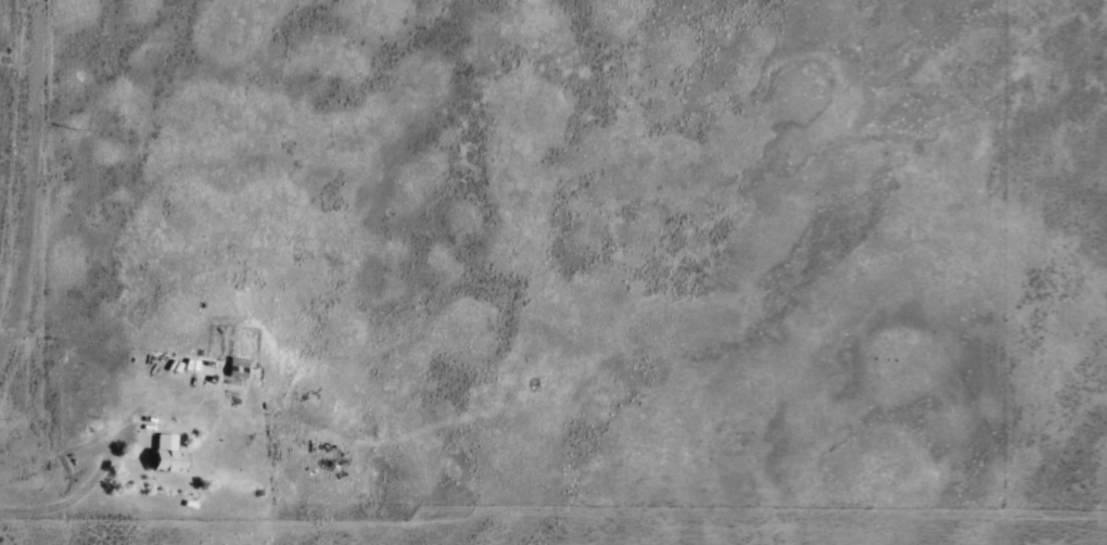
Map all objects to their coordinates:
road: (26, 164)
crop: (1054, 258)
building: (166, 453)

